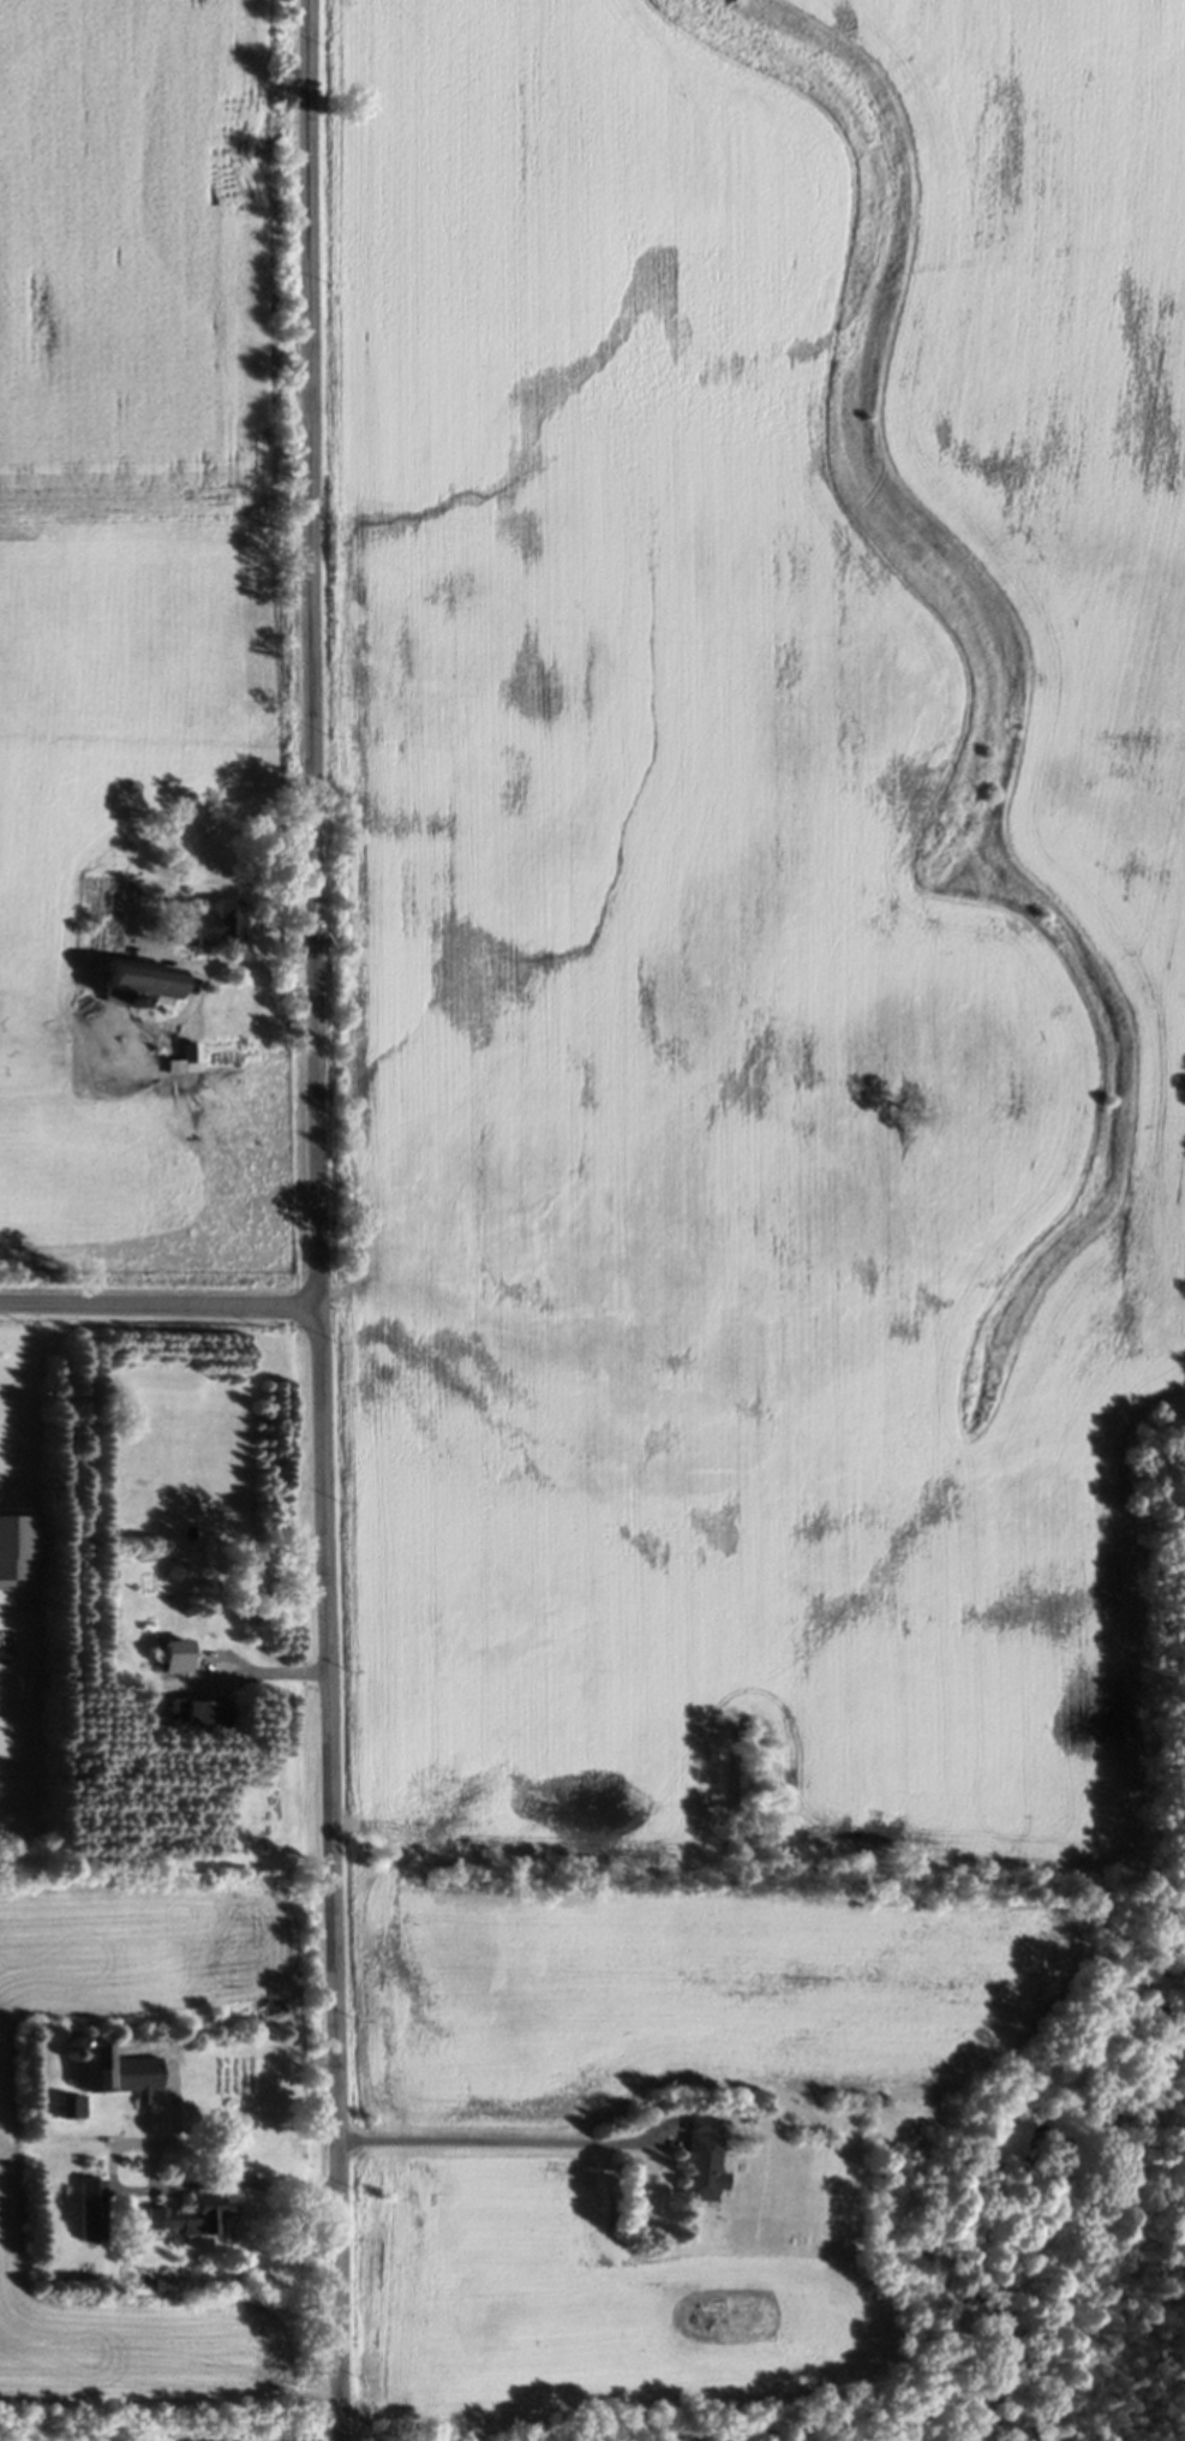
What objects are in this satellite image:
building: (211, 930)
road: (213, 967)
building: (138, 986)
building: (188, 1060)
road: (318, 1220)
road: (160, 1306)
building: (174, 1660)
road: (234, 1660)
building: (199, 1719)
building: (114, 2075)
road: (491, 2136)
road: (127, 2139)
building: (693, 2170)
building: (90, 2213)
building: (186, 2219)

